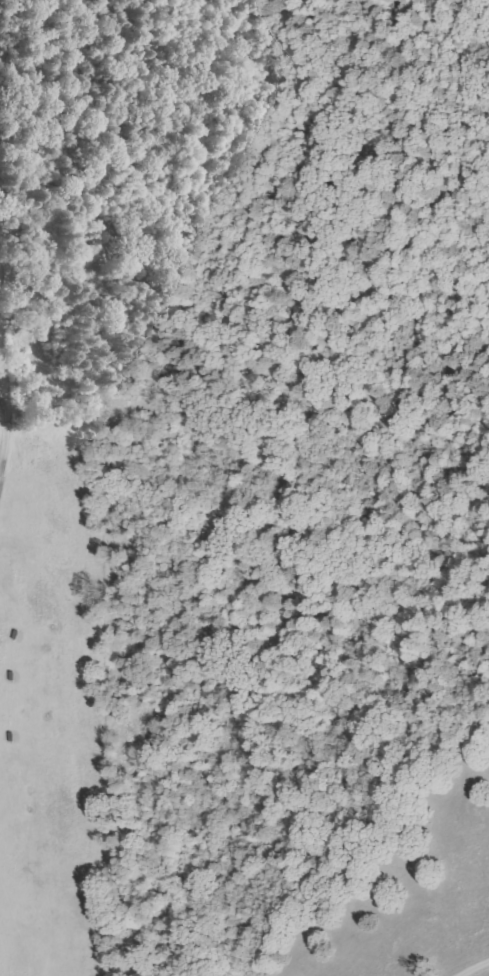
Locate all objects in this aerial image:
road: (9, 426)
road: (474, 967)

